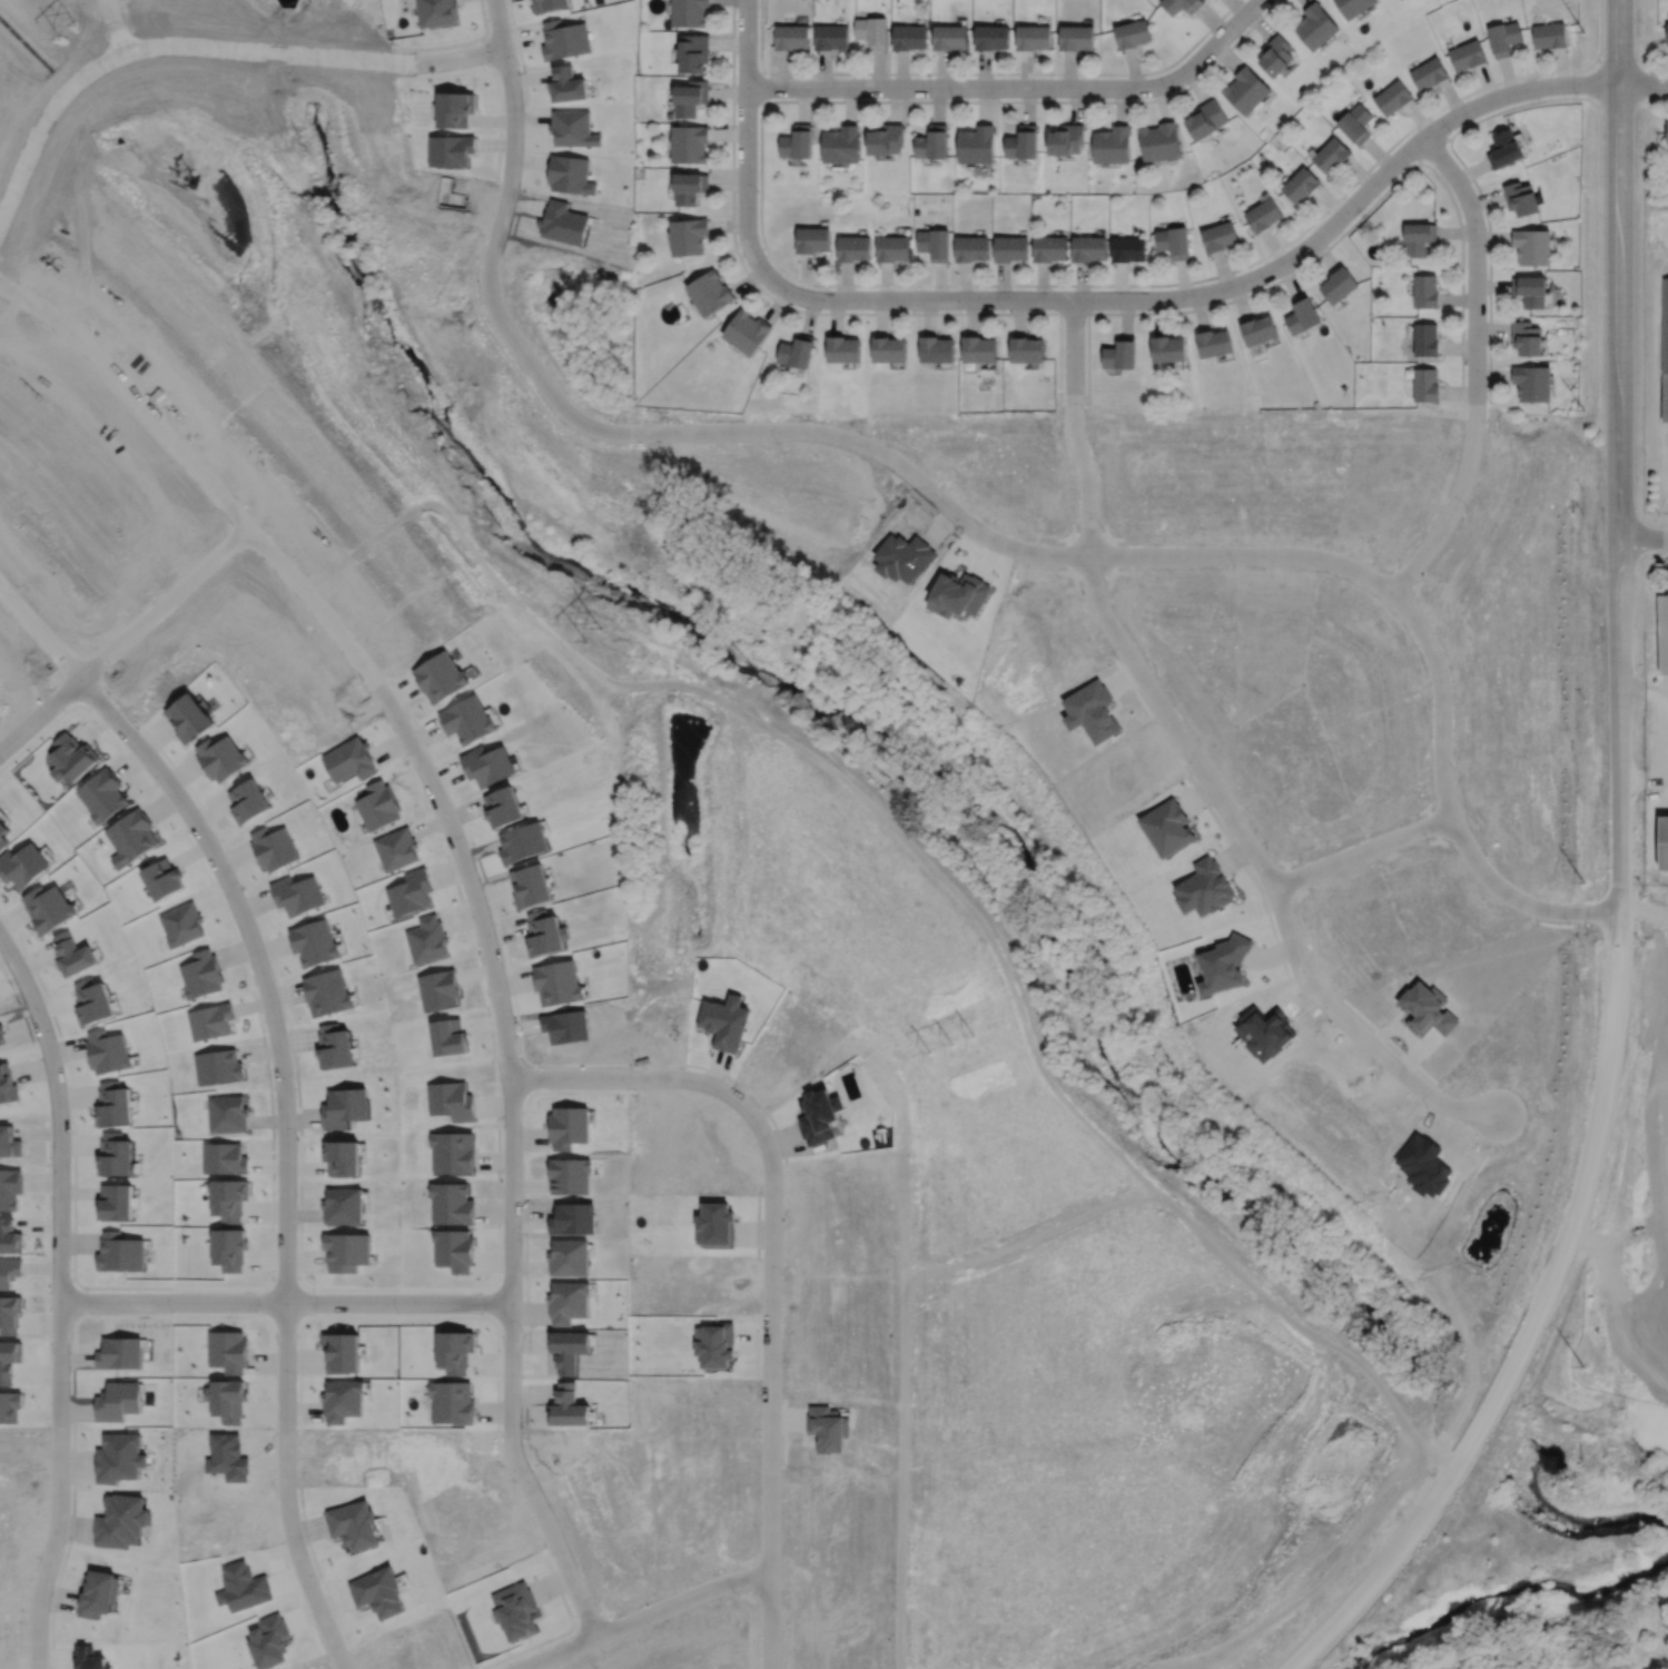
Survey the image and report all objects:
building: (547, 4)
building: (1181, 4)
building: (1353, 7)
building: (435, 11)
building: (689, 12)
building: (1316, 24)
power tower: (67, 31)
building: (872, 31)
building: (1132, 33)
building: (1549, 33)
building: (1667, 33)
building: (791, 36)
building: (830, 36)
building: (991, 36)
building: (1033, 36)
building: (909, 37)
building: (949, 37)
building: (1076, 37)
building: (1503, 37)
building: (693, 52)
building: (1467, 53)
road: (313, 55)
building: (1276, 55)
building: (1428, 72)
building: (566, 83)
road: (1017, 86)
building: (1246, 90)
road: (53, 95)
building: (1392, 96)
building: (690, 97)
building: (454, 108)
building: (1206, 120)
building: (1355, 124)
building: (572, 127)
building: (1667, 131)
building: (885, 139)
building: (1066, 139)
building: (797, 141)
building: (1159, 141)
road: (746, 142)
building: (932, 142)
building: (1023, 142)
building: (689, 144)
building: (840, 144)
building: (1112, 144)
building: (976, 145)
building: (1504, 149)
building: (1331, 155)
building: (570, 174)
building: (1301, 185)
building: (689, 187)
building: (1520, 197)
building: (1263, 215)
building: (688, 236)
building: (1218, 236)
building: (1418, 236)
building: (812, 239)
building: (1173, 241)
building: (934, 244)
building: (1532, 245)
building: (892, 247)
building: (970, 247)
building: (1009, 247)
building: (1087, 247)
building: (853, 248)
building: (1049, 248)
building: (1127, 248)
road: (491, 259)
road: (1619, 267)
road: (1247, 279)
building: (1339, 284)
building: (1530, 290)
building: (1425, 292)
building: (709, 293)
building: (1302, 314)
building: (1259, 329)
building: (747, 332)
building: (1527, 338)
building: (1425, 339)
building: (1214, 343)
building: (936, 348)
building: (1027, 348)
building: (1167, 348)
building: (842, 349)
building: (888, 349)
building: (978, 349)
building: (1665, 349)
building: (797, 352)
building: (1121, 354)
road: (1475, 367)
building: (1532, 382)
building: (1424, 385)
road: (130, 402)
road: (1642, 536)
road: (1232, 553)
power tower: (550, 584)
road: (166, 604)
building: (1662, 631)
road: (39, 635)
road: (1642, 693)
road: (1618, 708)
building: (1090, 710)
road: (39, 712)
building: (188, 715)
road: (1193, 756)
road: (1642, 781)
building: (101, 794)
building: (248, 800)
building: (1664, 842)
building: (273, 847)
road: (1361, 850)
building: (22, 863)
building: (1203, 887)
building: (297, 893)
building: (47, 907)
building: (181, 924)
building: (314, 941)
building: (326, 991)
building: (1425, 1009)
power tower: (949, 1040)
building: (107, 1050)
road: (507, 1057)
road: (633, 1077)
building: (7, 1084)
road: (286, 1149)
building: (225, 1158)
building: (567, 1174)
building: (10, 1187)
building: (228, 1197)
building: (9, 1235)
road: (59, 1298)
road: (284, 1301)
road: (1538, 1310)
building: (9, 1313)
building: (712, 1345)
building: (340, 1351)
road: (770, 1385)
building: (342, 1399)
building: (451, 1401)
building: (826, 1428)
building: (117, 1456)
building: (97, 1593)
road: (641, 1616)
building: (268, 1640)

